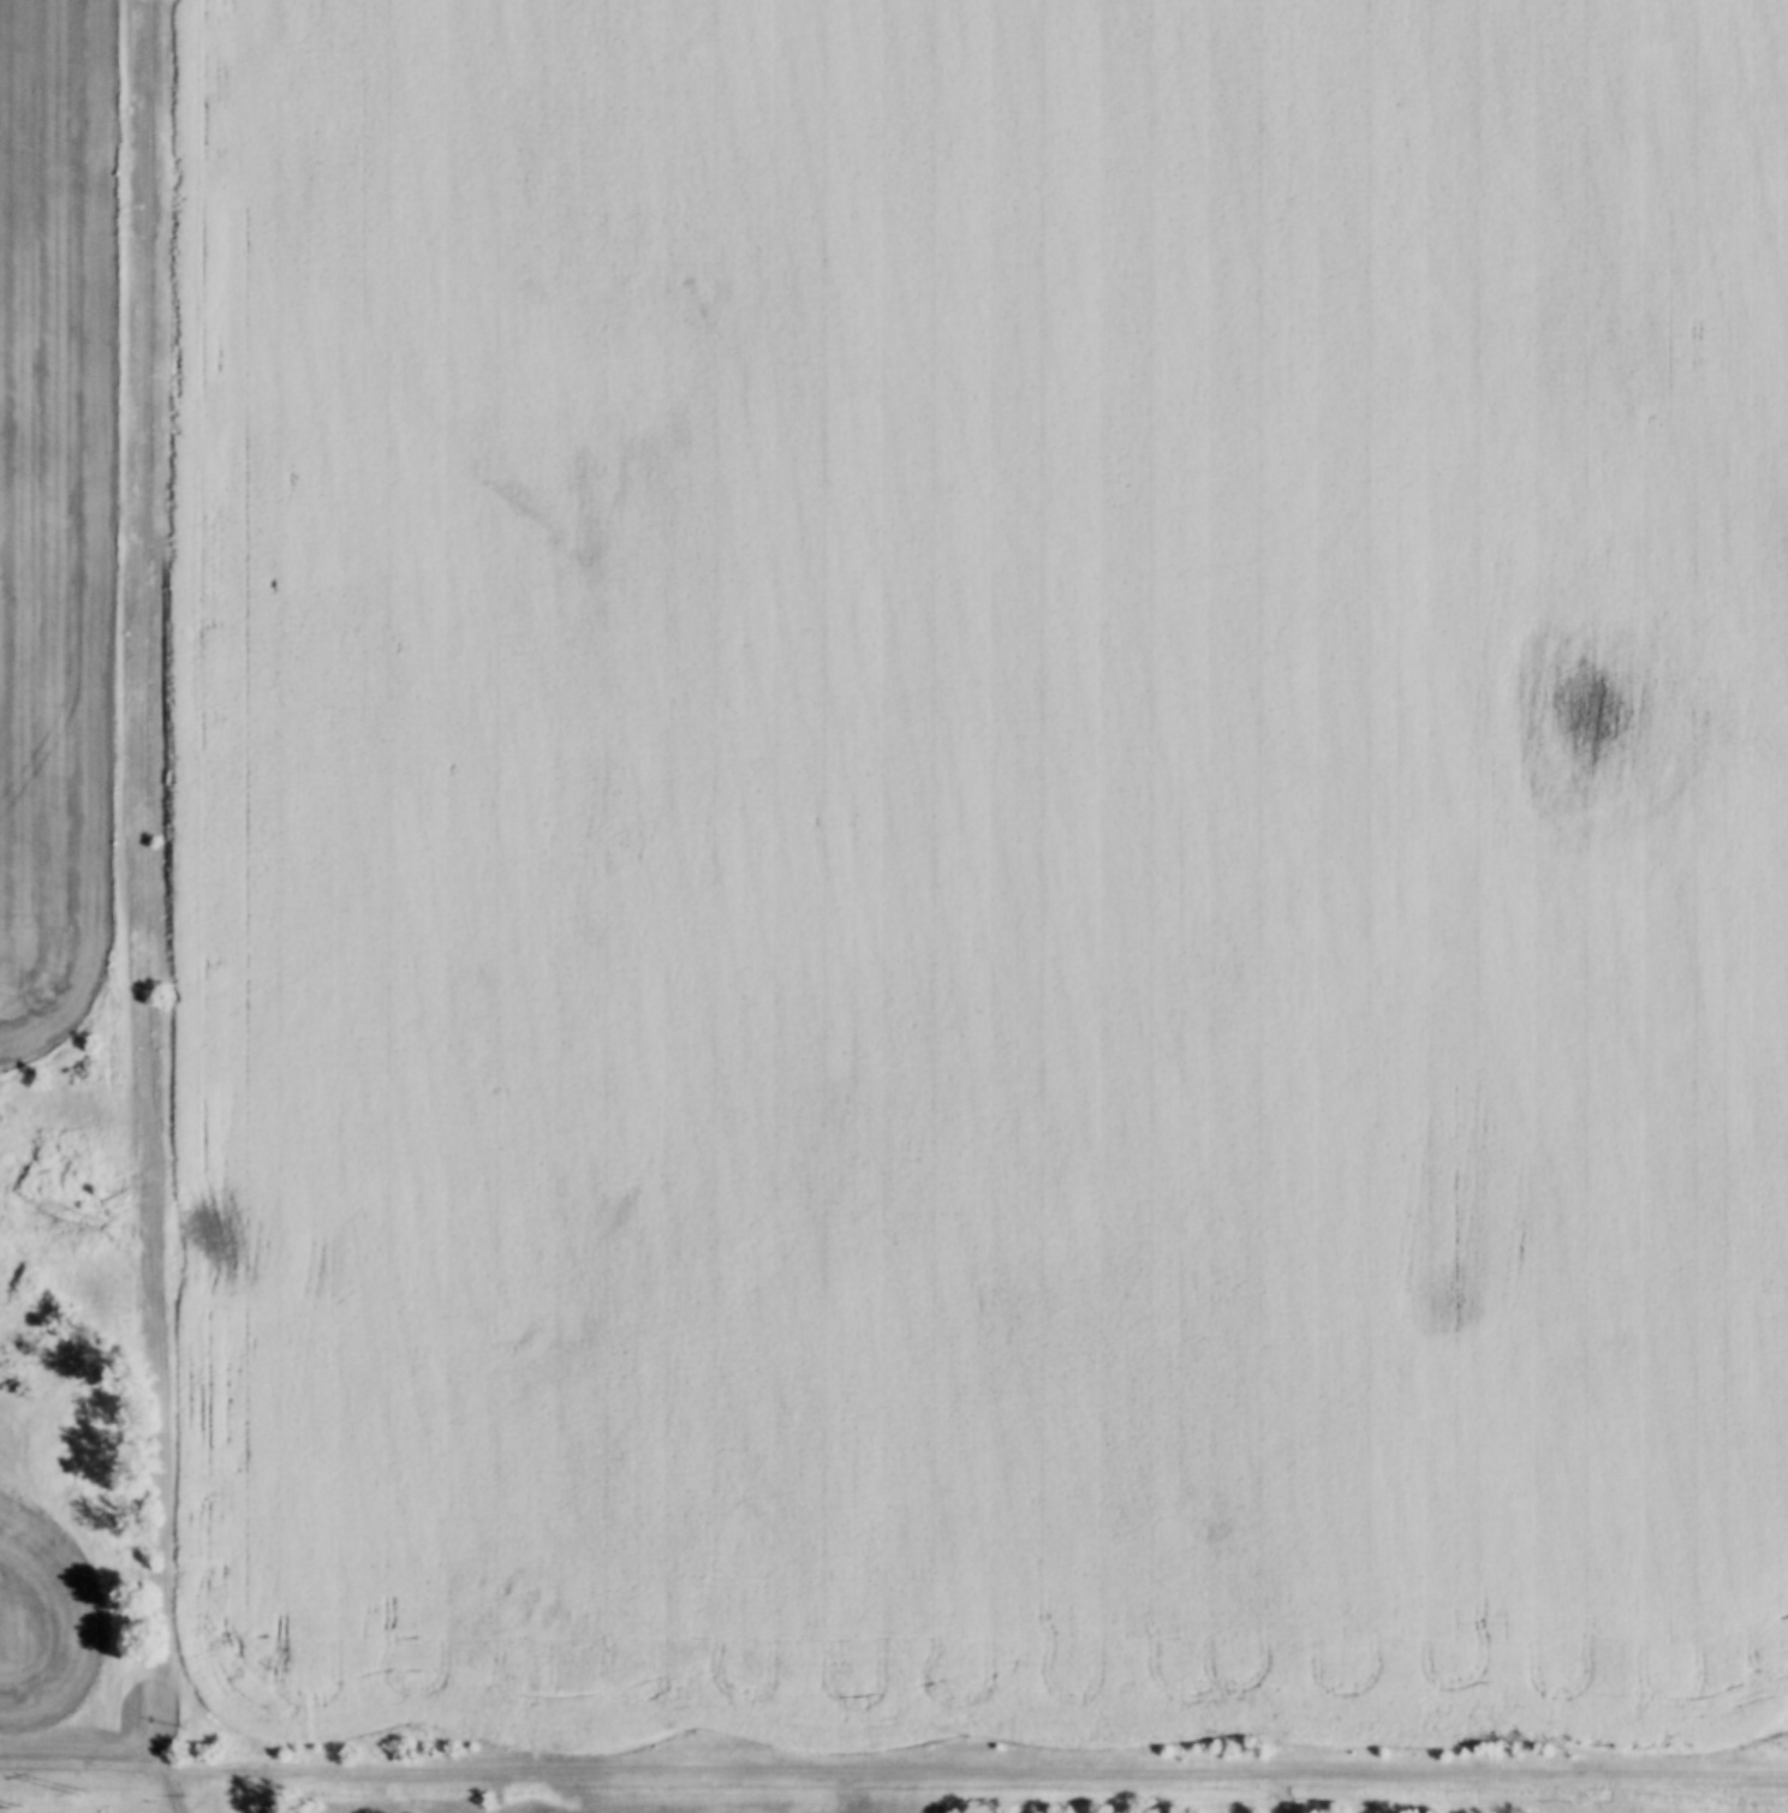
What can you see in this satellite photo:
road: (151, 884)
road: (81, 1772)
road: (975, 1773)
road: (162, 1791)

